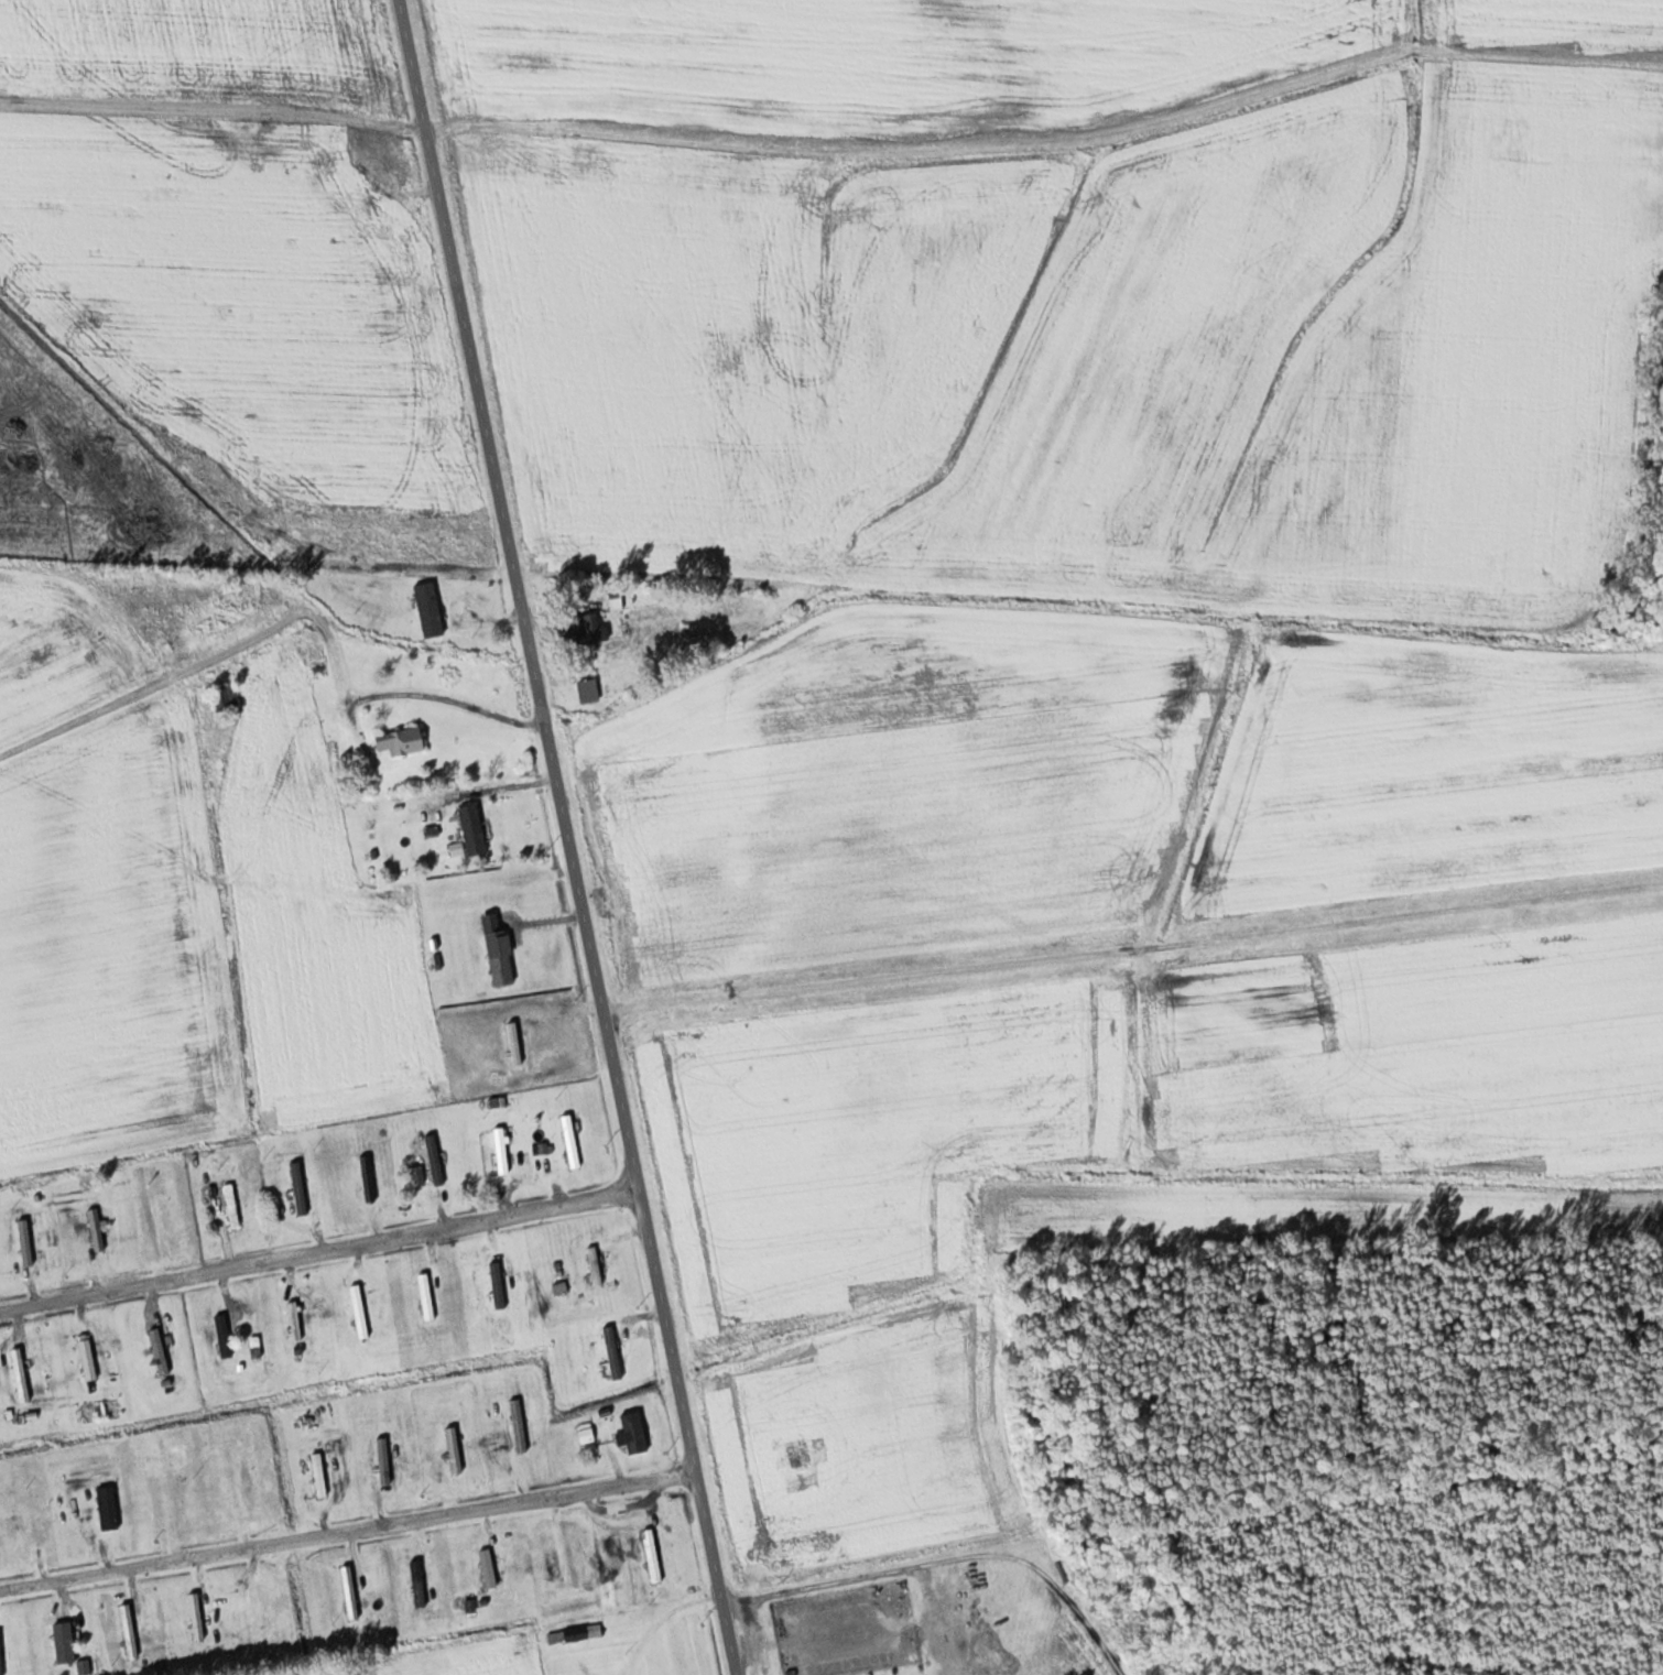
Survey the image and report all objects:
building: (267, 128)
building: (383, 156)
building: (591, 160)
building: (362, 205)
building: (389, 229)
building: (617, 596)
building: (432, 609)
building: (594, 630)
building: (590, 690)
road: (453, 699)
building: (403, 741)
road: (500, 786)
building: (475, 829)
road: (567, 837)
building: (502, 958)
building: (572, 1142)
building: (502, 1151)
building: (436, 1160)
building: (365, 1177)
building: (298, 1188)
building: (230, 1206)
building: (97, 1229)
building: (26, 1242)
road: (319, 1250)
building: (596, 1265)
building: (427, 1297)
building: (360, 1312)
building: (224, 1336)
building: (156, 1350)
building: (613, 1352)
building: (88, 1363)
building: (21, 1375)
building: (520, 1425)
building: (387, 1460)
building: (320, 1476)
building: (181, 1499)
building: (109, 1508)
road: (348, 1530)
building: (653, 1556)
building: (554, 1558)
road: (949, 1562)
building: (419, 1585)
building: (351, 1592)
building: (265, 1607)
building: (196, 1614)
building: (129, 1628)

